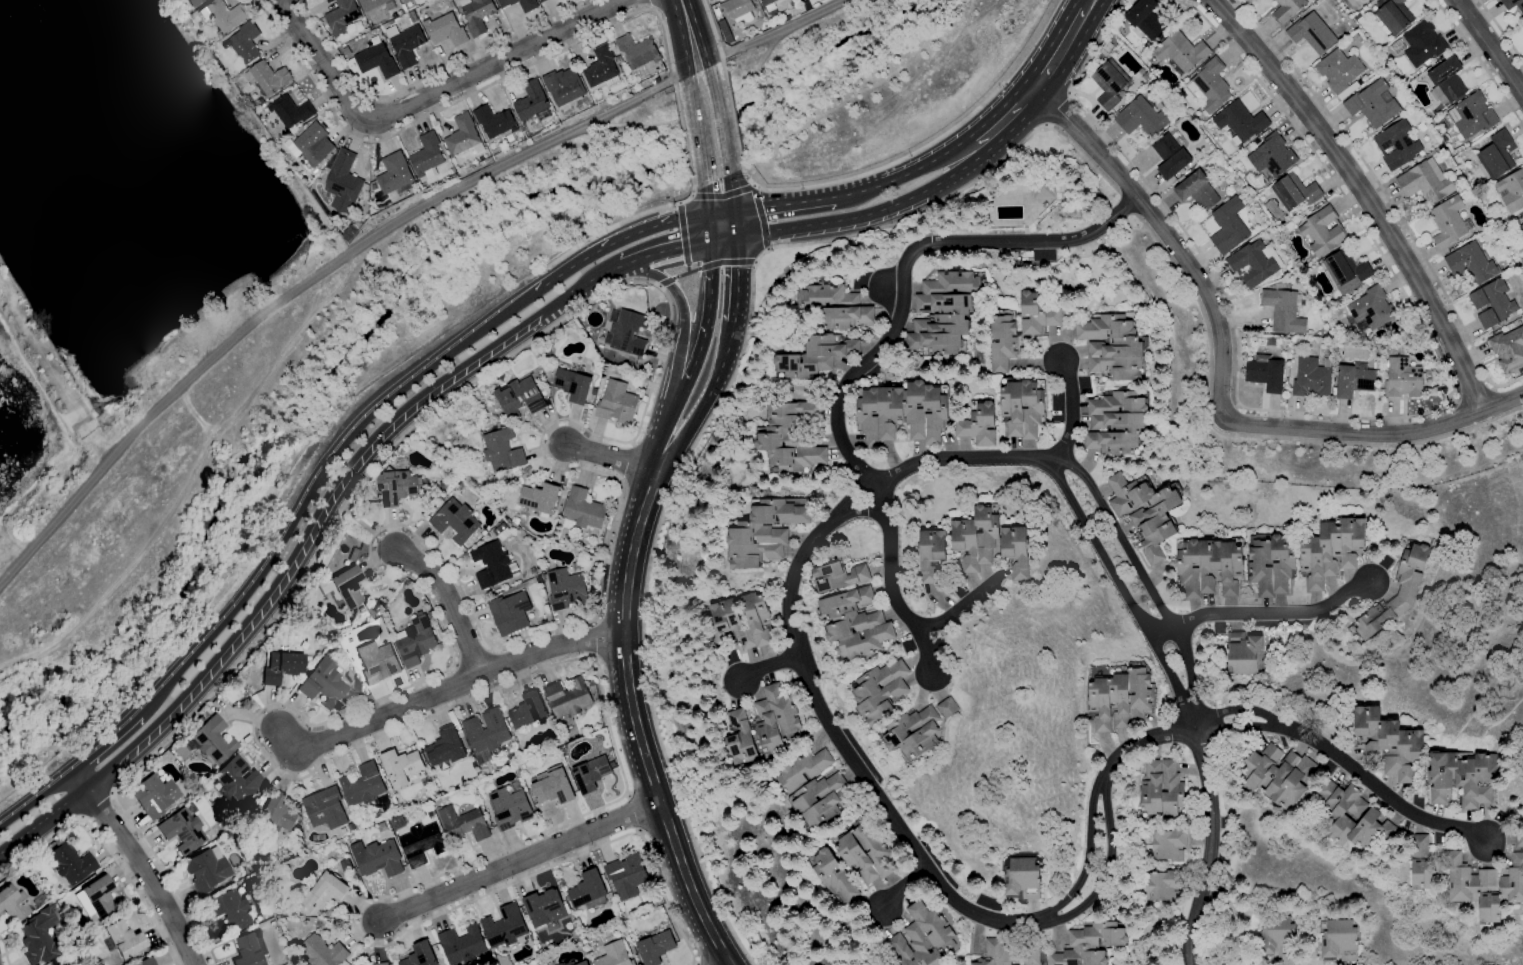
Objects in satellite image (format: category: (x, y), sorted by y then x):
building: (404, 0)
building: (1361, 0)
building: (542, 1)
building: (195, 2)
road: (1093, 2)
building: (371, 4)
building: (768, 4)
building: (1515, 5)
building: (390, 6)
road: (654, 6)
building: (529, 7)
building: (1286, 10)
building: (737, 11)
building: (400, 13)
building: (476, 15)
building: (1391, 15)
building: (224, 16)
building: (342, 17)
building: (413, 17)
building: (1356, 17)
building: (1145, 18)
building: (391, 22)
road: (686, 24)
building: (351, 27)
building: (445, 30)
road: (713, 30)
road: (1499, 31)
building: (1312, 33)
road: (776, 36)
building: (244, 43)
building: (1422, 43)
building: (405, 44)
road: (1489, 47)
road: (1062, 48)
building: (347, 51)
building: (637, 51)
building: (1180, 52)
road: (702, 57)
building: (376, 58)
road: (1479, 62)
road: (321, 64)
road: (493, 64)
road: (691, 64)
road: (758, 65)
building: (601, 70)
building: (1339, 72)
road: (424, 77)
building: (268, 78)
building: (1446, 80)
building: (1109, 82)
building: (1210, 86)
building: (563, 91)
road: (692, 98)
road: (462, 99)
building: (532, 103)
building: (1373, 104)
road: (1056, 110)
building: (291, 111)
road: (732, 112)
building: (1471, 115)
road: (722, 116)
building: (1142, 116)
building: (1240, 121)
building: (494, 122)
road: (1003, 122)
road: (666, 126)
building: (295, 133)
road: (683, 134)
building: (463, 137)
building: (1445, 138)
building: (508, 139)
building: (310, 144)
building: (1397, 145)
road: (701, 149)
building: (1496, 154)
building: (1169, 156)
building: (1272, 156)
building: (426, 157)
road: (876, 168)
building: (308, 173)
road: (904, 173)
building: (395, 175)
building: (344, 182)
building: (1425, 182)
building: (373, 187)
building: (1044, 187)
road: (735, 189)
building: (1196, 190)
building: (1295, 191)
building: (1511, 191)
road: (1364, 194)
road: (708, 196)
road: (1385, 197)
road: (786, 204)
road: (1127, 204)
traffic signals: (738, 211)
road: (724, 212)
traffic signals: (711, 213)
road: (868, 216)
road: (761, 219)
building: (1448, 222)
building: (1521, 224)
road: (618, 225)
building: (1228, 226)
road: (713, 227)
building: (354, 228)
building: (1521, 229)
building: (1322, 231)
building: (345, 236)
traffic signals: (742, 236)
road: (1166, 236)
road: (728, 238)
road: (620, 239)
traffic signals: (715, 241)
road: (668, 250)
building: (1472, 262)
road: (901, 263)
building: (1254, 263)
road: (739, 269)
building: (1346, 271)
road: (606, 273)
road: (311, 279)
building: (1355, 297)
building: (1492, 303)
building: (831, 306)
building: (1284, 310)
building: (1370, 310)
building: (943, 313)
building: (1036, 315)
road: (681, 319)
road: (703, 327)
building: (626, 332)
building: (570, 334)
building: (1286, 340)
building: (1271, 342)
building: (1001, 343)
building: (1111, 347)
building: (1508, 349)
building: (814, 357)
road: (719, 361)
building: (1265, 373)
building: (1312, 378)
building: (1403, 378)
building: (1354, 380)
building: (548, 381)
building: (1290, 381)
building: (572, 385)
building: (1432, 385)
road: (1493, 388)
building: (593, 391)
road: (1476, 394)
building: (519, 398)
road: (1457, 399)
road: (1497, 402)
building: (616, 403)
road: (1455, 403)
building: (1021, 408)
road: (1070, 411)
road: (713, 413)
building: (902, 413)
road: (1355, 416)
road: (1460, 418)
building: (1115, 422)
building: (978, 425)
road: (683, 432)
road: (1374, 433)
road: (662, 437)
building: (789, 437)
road: (1251, 437)
building: (502, 451)
road: (613, 457)
road: (959, 459)
road: (317, 478)
building: (444, 485)
building: (457, 486)
building: (396, 487)
building: (539, 498)
building: (582, 509)
building: (1145, 513)
building: (455, 521)
building: (514, 521)
road: (359, 523)
road: (399, 526)
building: (499, 529)
building: (763, 531)
building: (976, 539)
building: (597, 546)
building: (1016, 551)
building: (1331, 551)
building: (931, 554)
building: (352, 555)
road: (291, 562)
building: (491, 564)
building: (1235, 566)
building: (836, 577)
building: (539, 579)
park: (1471, 580)
road: (1144, 581)
road: (890, 586)
building: (346, 587)
building: (566, 589)
building: (1407, 590)
road: (1122, 593)
road: (962, 605)
road: (451, 606)
building: (510, 613)
road: (1259, 613)
building: (431, 615)
building: (727, 622)
building: (854, 623)
building: (339, 639)
building: (416, 641)
building: (1244, 651)
building: (307, 659)
building: (377, 662)
road: (766, 667)
building: (280, 668)
building: (323, 683)
building: (880, 691)
road: (443, 692)
building: (568, 698)
building: (1119, 699)
building: (946, 707)
building: (528, 710)
road: (634, 723)
building: (762, 727)
building: (913, 732)
building: (486, 734)
road: (105, 741)
building: (211, 741)
building: (1383, 743)
building: (445, 748)
building: (401, 767)
road: (1349, 767)
building: (590, 774)
building: (1276, 775)
building: (1458, 777)
building: (198, 778)
building: (234, 784)
building: (363, 785)
building: (553, 787)
building: (813, 788)
building: (1160, 788)
road: (36, 795)
building: (153, 795)
road: (98, 806)
building: (509, 808)
building: (325, 809)
building: (278, 813)
building: (1336, 813)
building: (463, 824)
building: (359, 825)
building: (351, 827)
building: (182, 830)
building: (1519, 836)
building: (421, 844)
building: (1168, 845)
road: (1208, 845)
road: (105, 846)
building: (865, 853)
road: (917, 854)
building: (377, 858)
building: (70, 863)
road: (138, 863)
building: (1422, 863)
road: (522, 864)
building: (246, 869)
building: (205, 870)
building: (626, 876)
building: (834, 876)
building: (1022, 878)
building: (1484, 885)
building: (1163, 886)
road: (906, 889)
building: (588, 891)
building: (322, 895)
building: (99, 896)
building: (13, 903)
building: (544, 907)
building: (229, 909)
building: (505, 927)
building: (1277, 936)
building: (40, 937)
building: (922, 938)
building: (124, 939)
building: (1339, 940)
building: (1089, 944)
building: (462, 945)
building: (655, 947)
building: (249, 949)
road: (5, 950)
building: (321, 952)
building: (993, 954)
building: (420, 955)
building: (614, 955)
building: (1030, 955)
building: (145, 961)
building: (77, 963)
building: (583, 963)
road: (696, 963)
building: (67, 964)
building: (382, 964)
building: (560, 964)
building: (572, 964)

